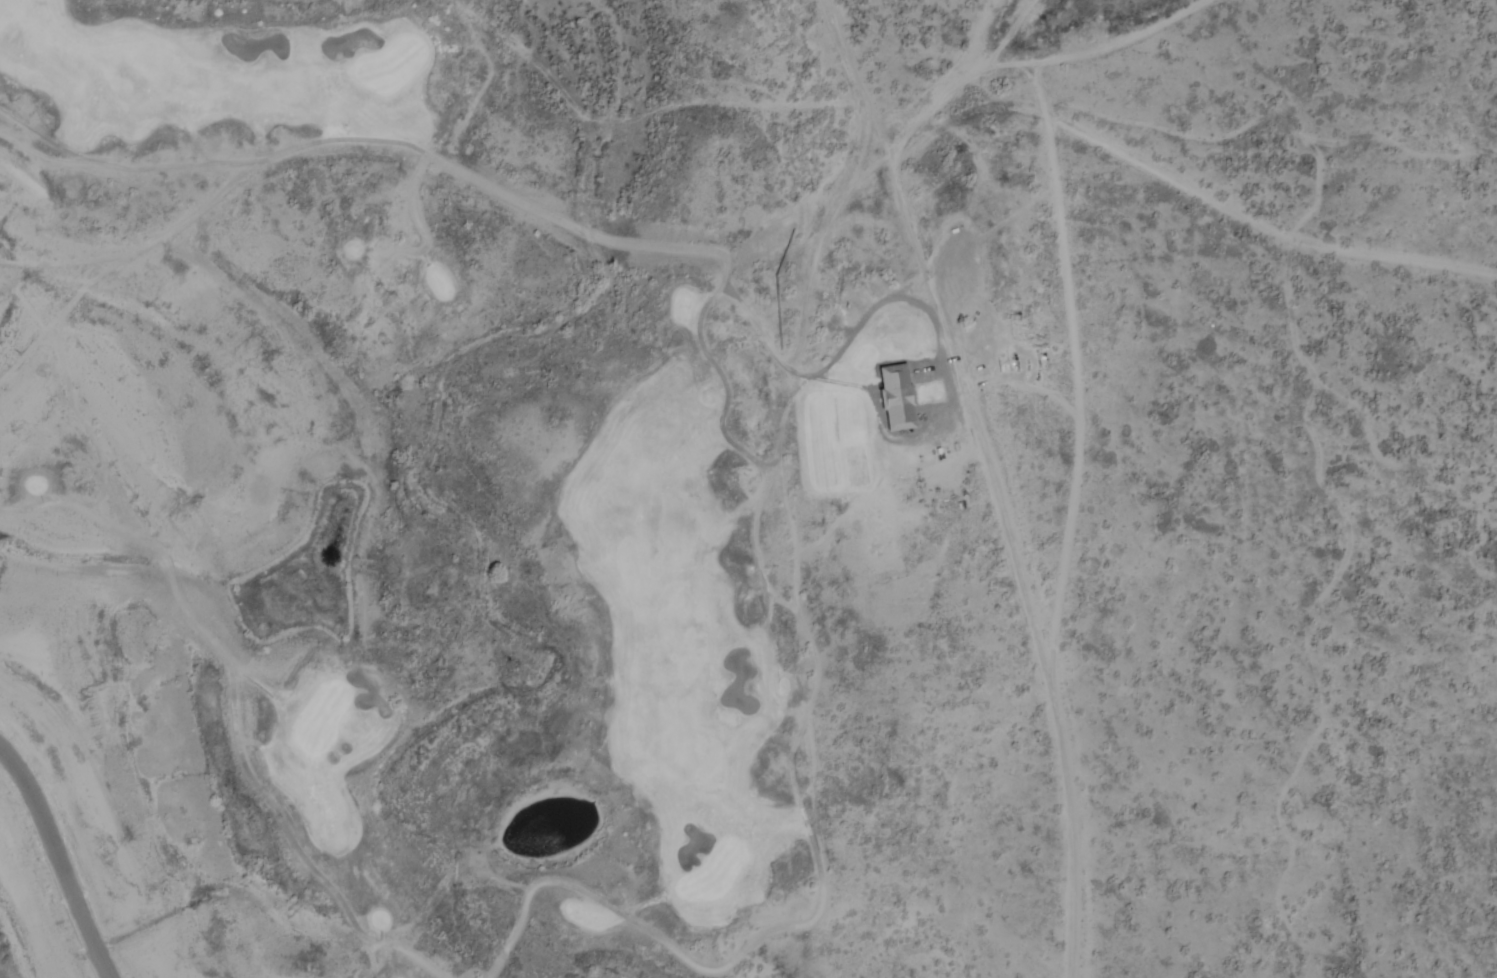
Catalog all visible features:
road: (861, 85)
road: (476, 181)
building: (1002, 265)
building: (895, 398)
park: (460, 494)
road: (1020, 567)
road: (235, 708)
road: (59, 861)
road: (651, 934)

